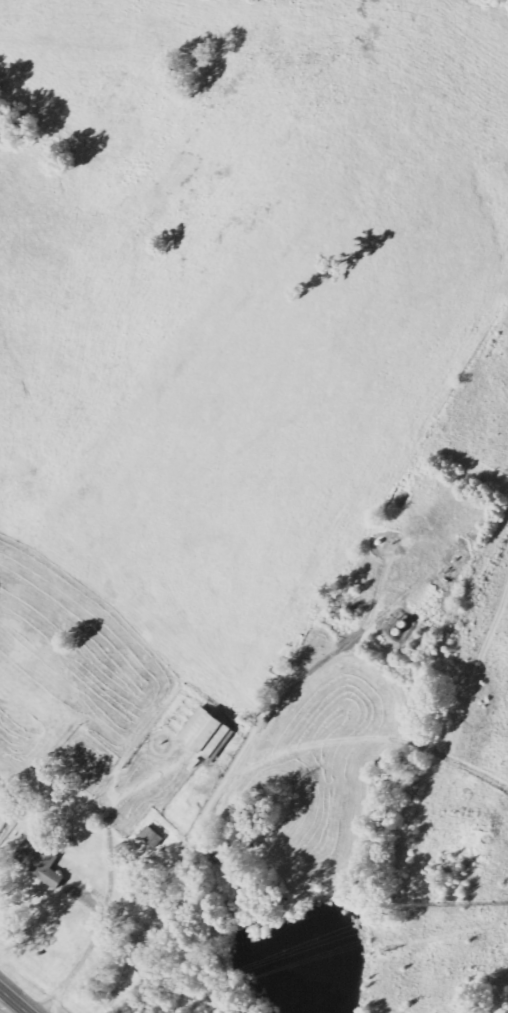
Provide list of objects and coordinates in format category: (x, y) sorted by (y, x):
building: (212, 733)
building: (154, 836)
building: (44, 862)
road: (4, 1009)

